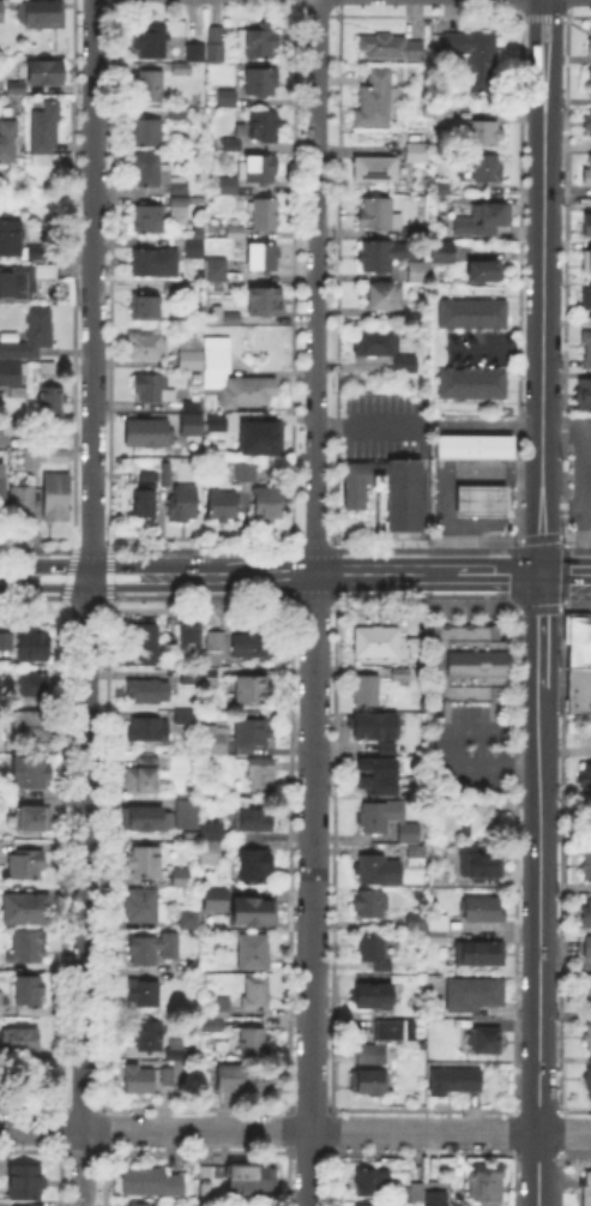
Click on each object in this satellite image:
building: (1, 13)
building: (42, 14)
building: (192, 30)
building: (151, 41)
building: (260, 43)
building: (216, 44)
building: (589, 47)
building: (392, 48)
building: (193, 49)
building: (475, 56)
building: (177, 66)
building: (46, 73)
building: (590, 78)
building: (261, 83)
building: (13, 85)
building: (151, 86)
building: (223, 96)
building: (378, 101)
building: (177, 110)
building: (442, 115)
building: (589, 125)
building: (263, 128)
building: (147, 132)
building: (44, 134)
building: (483, 134)
building: (8, 142)
building: (230, 143)
building: (417, 154)
building: (483, 168)
building: (378, 169)
building: (151, 172)
building: (258, 172)
building: (589, 180)
building: (228, 186)
building: (179, 203)
building: (266, 215)
building: (378, 216)
building: (146, 220)
building: (487, 221)
building: (589, 226)
building: (236, 233)
building: (11, 240)
building: (193, 250)
building: (37, 253)
building: (444, 253)
building: (381, 256)
building: (263, 258)
building: (586, 262)
building: (156, 264)
building: (40, 270)
building: (213, 272)
building: (420, 272)
building: (484, 272)
road: (543, 284)
building: (14, 287)
building: (174, 290)
building: (386, 298)
building: (265, 301)
building: (587, 302)
building: (145, 307)
building: (474, 317)
building: (233, 319)
building: (34, 336)
building: (147, 347)
building: (586, 348)
building: (385, 352)
building: (187, 359)
building: (48, 368)
building: (10, 374)
building: (229, 376)
building: (474, 385)
building: (153, 391)
building: (584, 396)
building: (52, 402)
building: (188, 403)
building: (188, 422)
building: (213, 422)
road: (369, 422)
building: (6, 433)
building: (149, 433)
building: (258, 437)
building: (476, 449)
building: (60, 455)
building: (32, 460)
building: (248, 473)
building: (167, 474)
building: (150, 476)
building: (2, 493)
building: (56, 497)
building: (404, 498)
building: (145, 502)
building: (481, 503)
gas station: (481, 503)
building: (23, 504)
building: (269, 504)
building: (183, 505)
building: (224, 508)
road: (578, 533)
road: (36, 536)
road: (90, 536)
road: (199, 536)
road: (312, 536)
road: (423, 536)
road: (539, 536)
road: (463, 548)
road: (32, 550)
road: (90, 550)
road: (203, 550)
road: (313, 550)
road: (563, 570)
road: (566, 570)
road: (66, 571)
road: (109, 571)
road: (290, 571)
road: (334, 571)
traffic signals: (542, 571)
road: (428, 572)
road: (157, 574)
road: (464, 594)
road: (31, 595)
road: (199, 595)
road: (312, 595)
road: (88, 596)
road: (86, 602)
road: (314, 602)
road: (426, 606)
road: (199, 607)
road: (312, 607)
road: (577, 607)
road: (30, 608)
road: (85, 608)
road: (539, 608)
building: (191, 640)
building: (373, 640)
building: (6, 642)
building: (146, 644)
building: (418, 644)
building: (35, 647)
building: (216, 647)
building: (251, 647)
building: (440, 664)
building: (476, 664)
building: (579, 665)
building: (191, 676)
building: (402, 676)
building: (211, 677)
building: (35, 686)
building: (252, 691)
building: (149, 692)
building: (369, 694)
building: (186, 718)
building: (376, 726)
building: (32, 727)
building: (147, 728)
building: (252, 733)
building: (215, 740)
road: (452, 749)
building: (30, 774)
building: (144, 776)
building: (263, 776)
building: (379, 776)
building: (586, 780)
building: (506, 805)
building: (186, 814)
building: (35, 818)
building: (375, 818)
building: (147, 821)
building: (252, 821)
building: (480, 823)
building: (410, 835)
building: (212, 842)
building: (417, 856)
building: (145, 862)
building: (255, 864)
building: (25, 865)
building: (481, 866)
building: (587, 866)
building: (378, 871)
building: (177, 876)
road: (538, 888)
building: (211, 898)
building: (370, 905)
building: (145, 907)
building: (483, 911)
building: (28, 912)
building: (251, 912)
building: (186, 917)
building: (586, 917)
building: (414, 918)
building: (434, 920)
building: (433, 935)
building: (167, 943)
building: (28, 947)
building: (587, 948)
building: (139, 949)
building: (370, 949)
building: (253, 952)
building: (480, 954)
building: (382, 967)
building: (31, 991)
building: (144, 991)
building: (257, 994)
building: (374, 996)
building: (475, 996)
building: (589, 997)
building: (1, 998)
building: (221, 1008)
building: (209, 1024)
building: (215, 1030)
building: (390, 1031)
building: (149, 1036)
building: (587, 1038)
building: (484, 1040)
building: (20, 1042)
building: (253, 1045)
building: (372, 1055)
building: (177, 1057)
building: (169, 1078)
building: (139, 1080)
building: (231, 1080)
building: (587, 1080)
building: (457, 1081)
building: (370, 1082)
building: (260, 1084)
road: (295, 1132)
building: (253, 1180)
building: (152, 1182)
building: (369, 1182)
building: (26, 1183)
building: (487, 1186)
building: (585, 1190)
building: (207, 1192)
building: (415, 1194)
building: (436, 1199)
building: (135, 1204)
building: (24, 1205)
building: (369, 1205)

